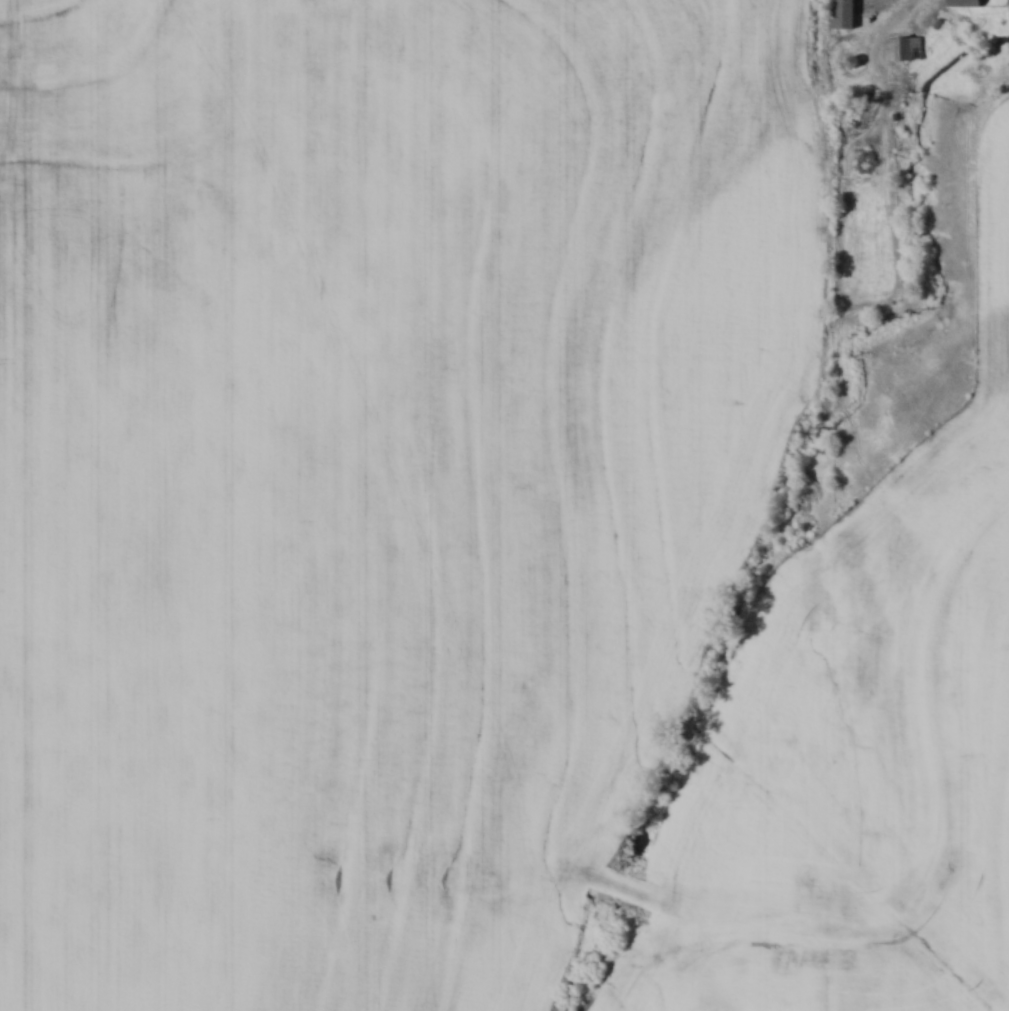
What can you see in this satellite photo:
building: (964, 3)
building: (843, 13)
building: (904, 49)

